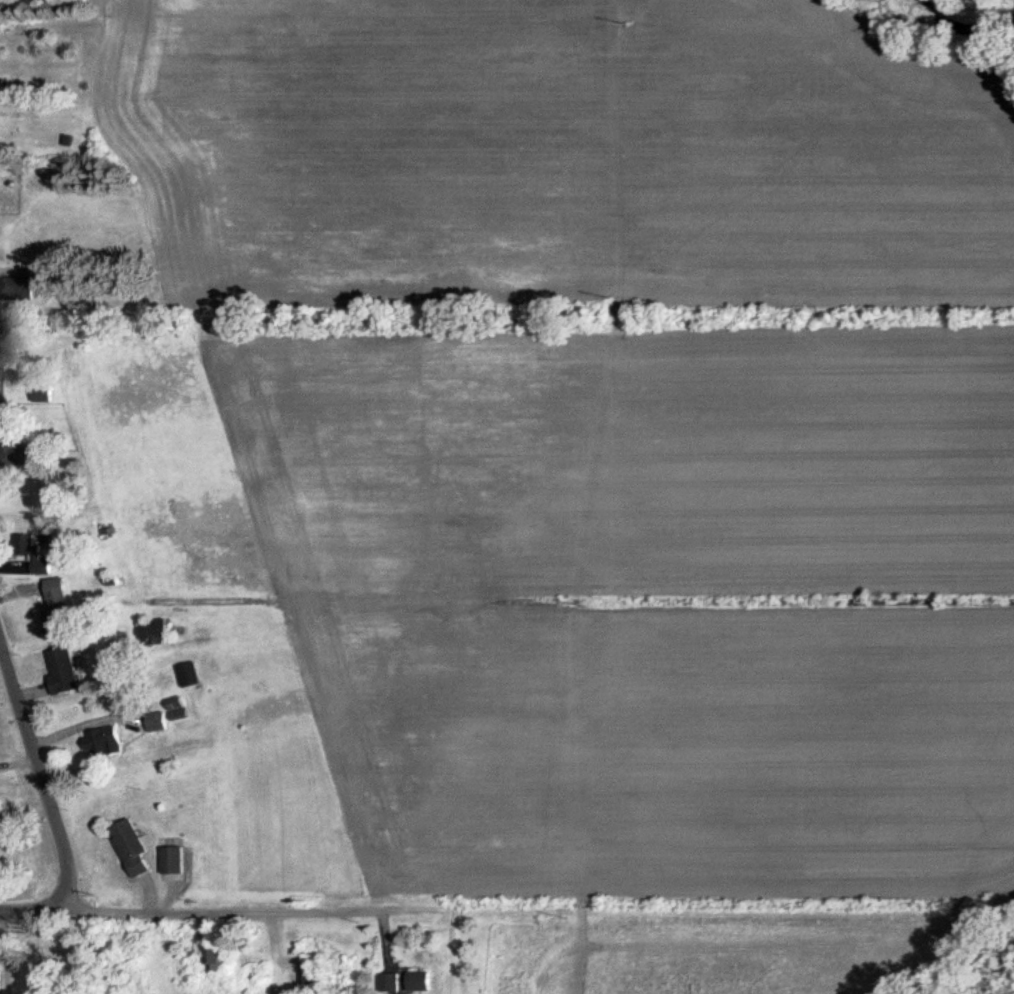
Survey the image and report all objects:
building: (20, 289)
building: (0, 386)
building: (44, 394)
building: (1, 432)
building: (39, 552)
building: (58, 608)
building: (159, 633)
building: (66, 672)
building: (193, 676)
building: (161, 723)
building: (107, 743)
road: (41, 778)
building: (0, 823)
building: (136, 850)
building: (176, 861)
road: (540, 911)
road: (33, 914)
building: (219, 961)
building: (312, 971)
building: (422, 982)
building: (393, 983)

